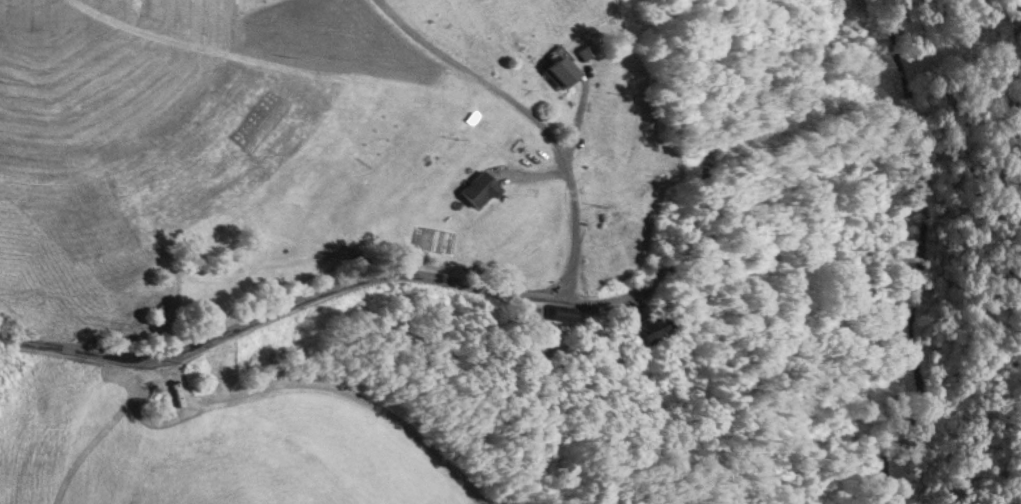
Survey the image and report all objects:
building: (556, 70)
road: (532, 120)
building: (476, 190)
road: (478, 290)
building: (557, 314)
building: (646, 331)

